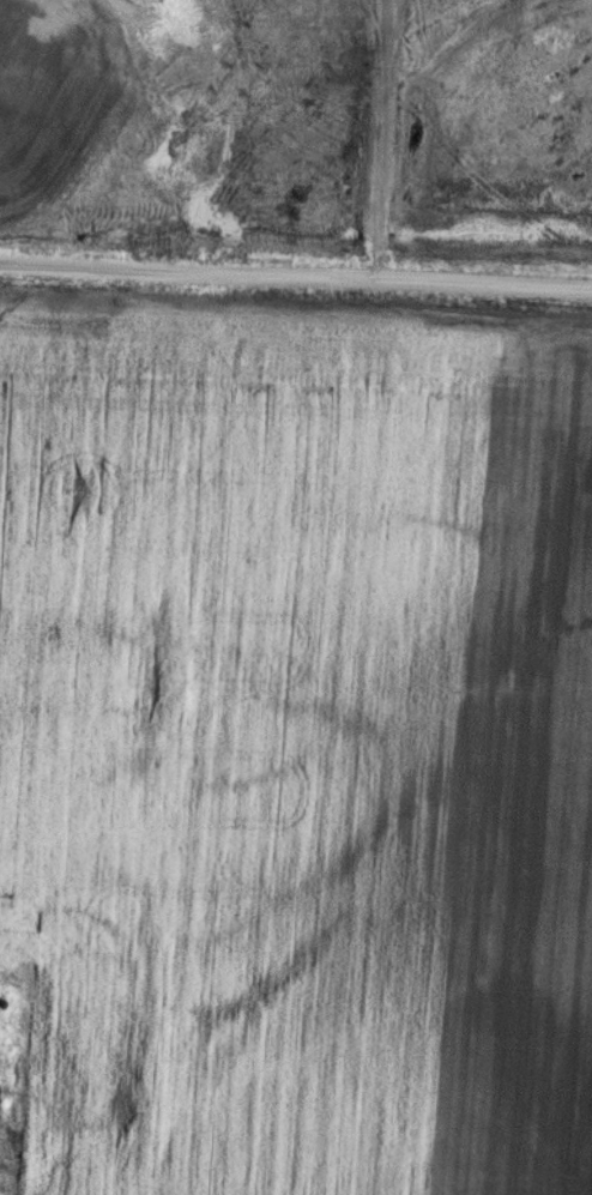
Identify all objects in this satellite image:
road: (295, 284)

